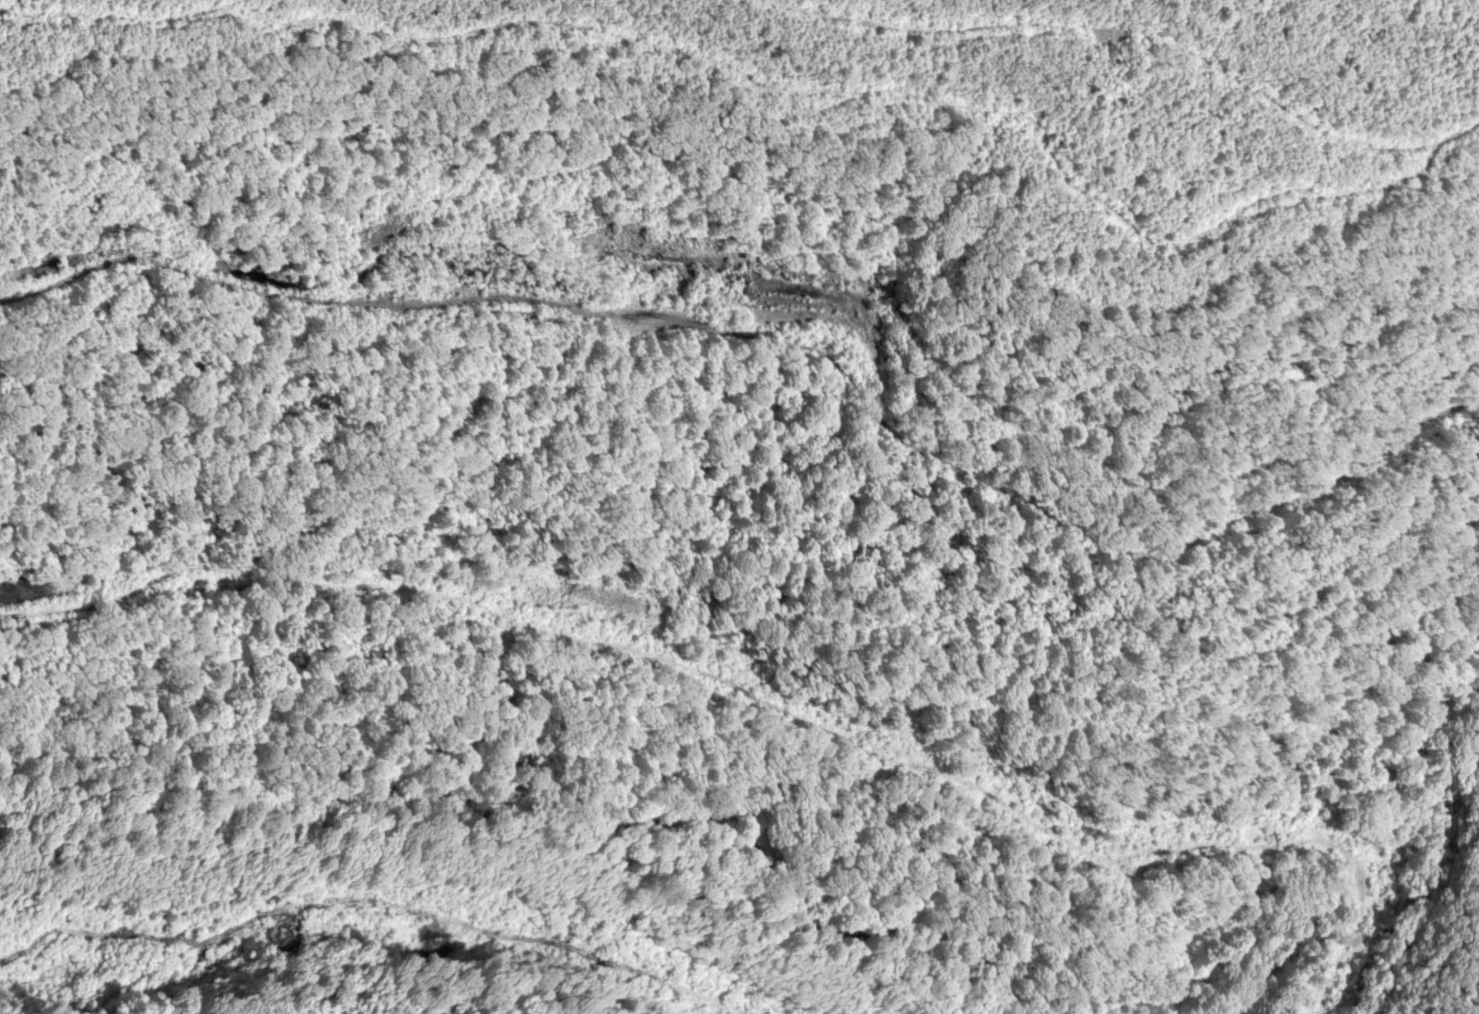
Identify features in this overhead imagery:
road: (799, 328)
road: (371, 917)

